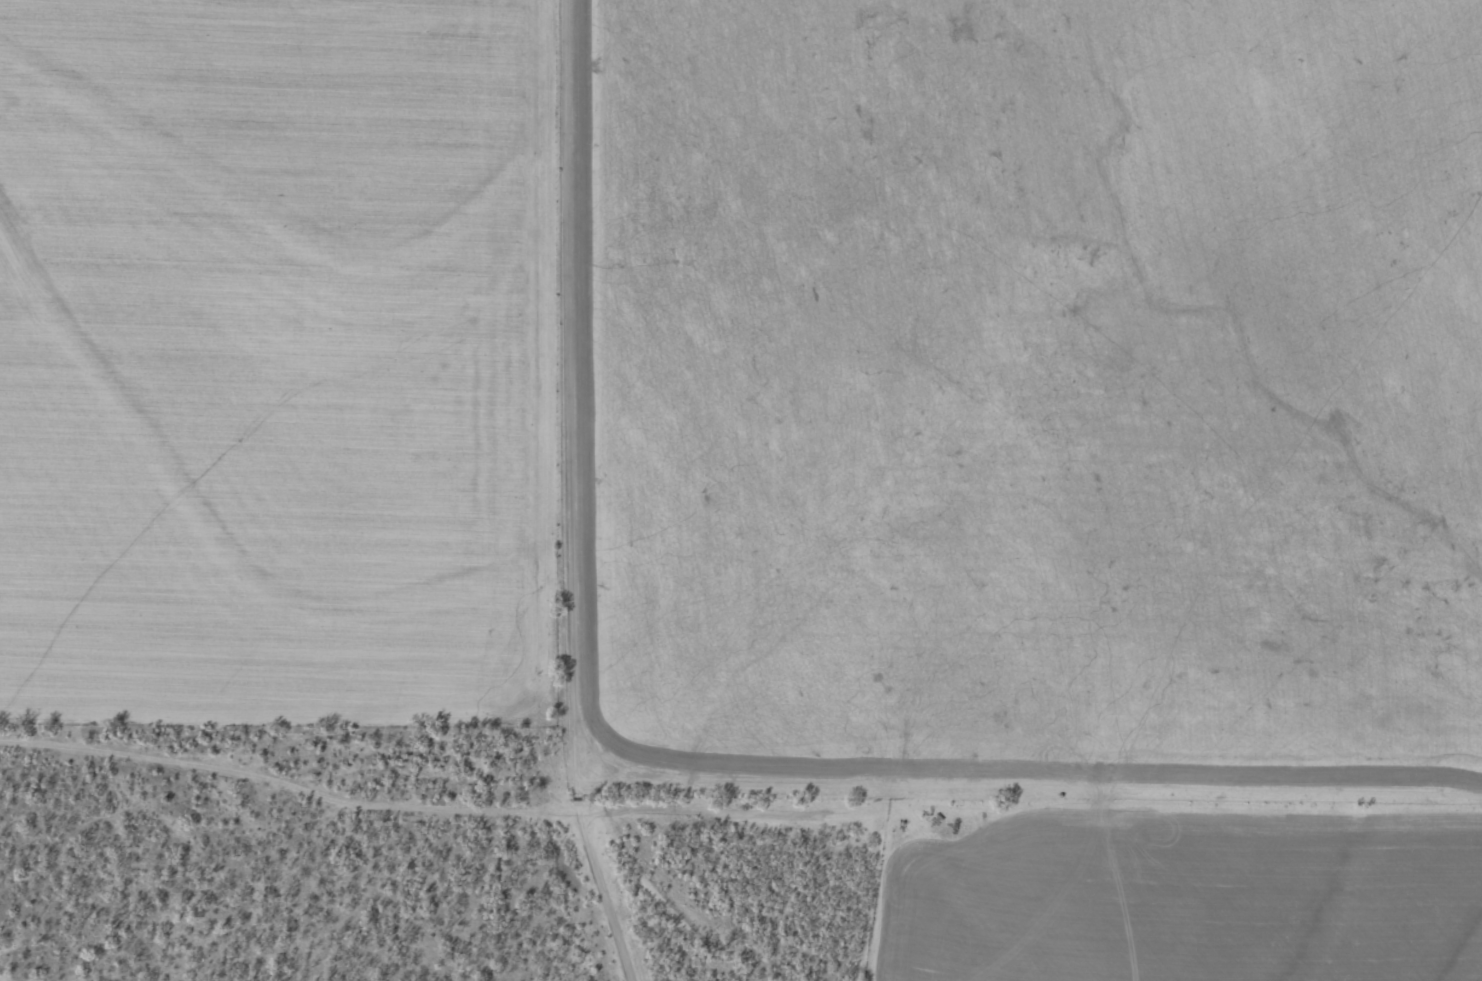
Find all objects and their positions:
road: (575, 284)
road: (579, 650)

